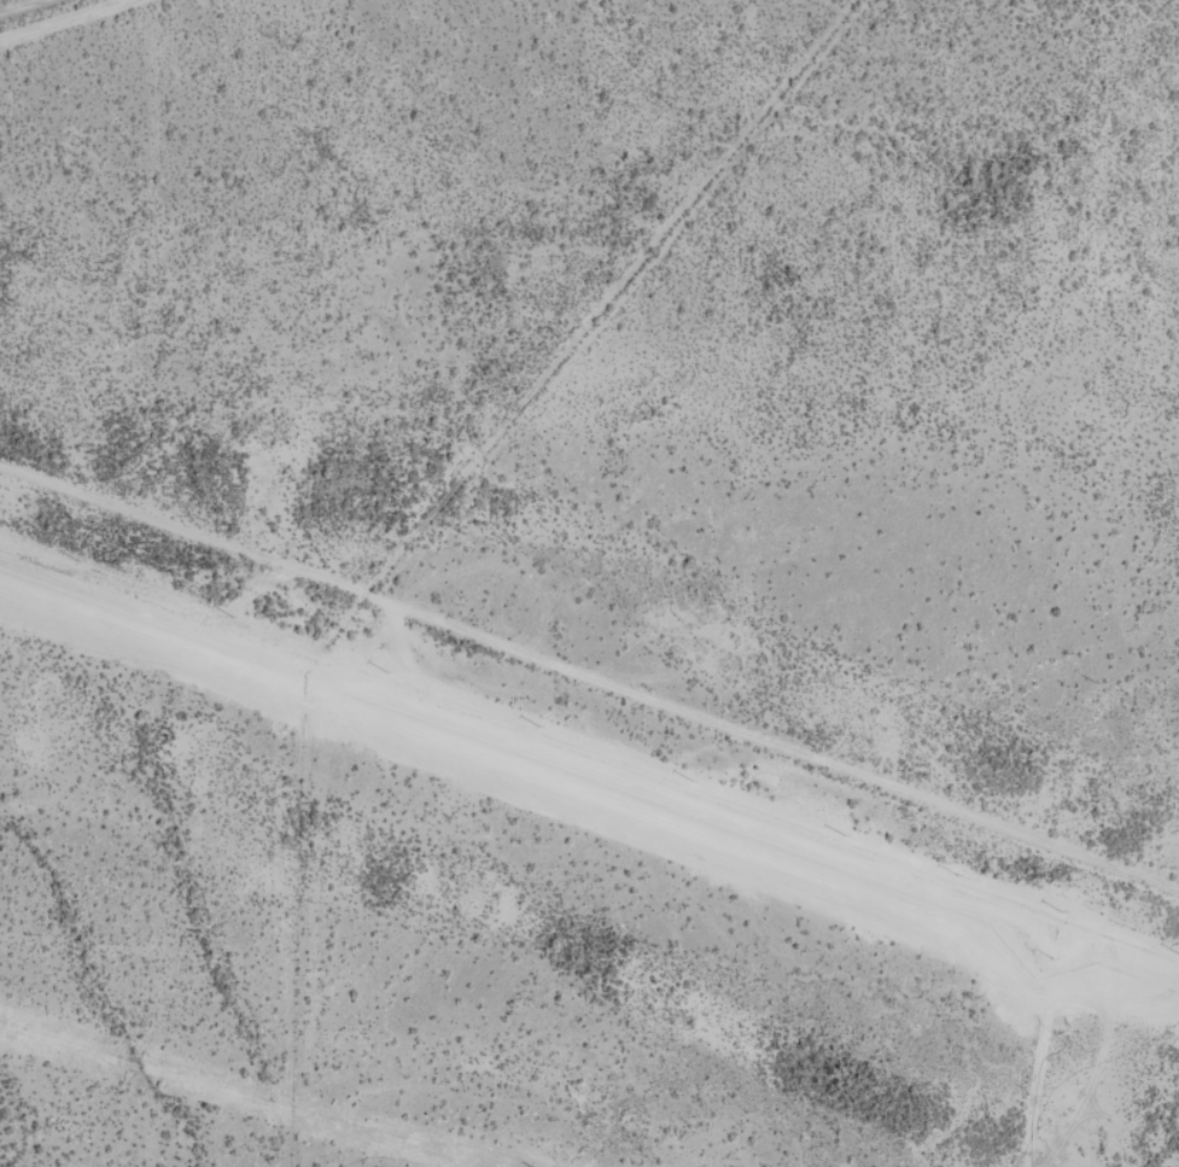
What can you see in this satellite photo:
road: (43, 12)

